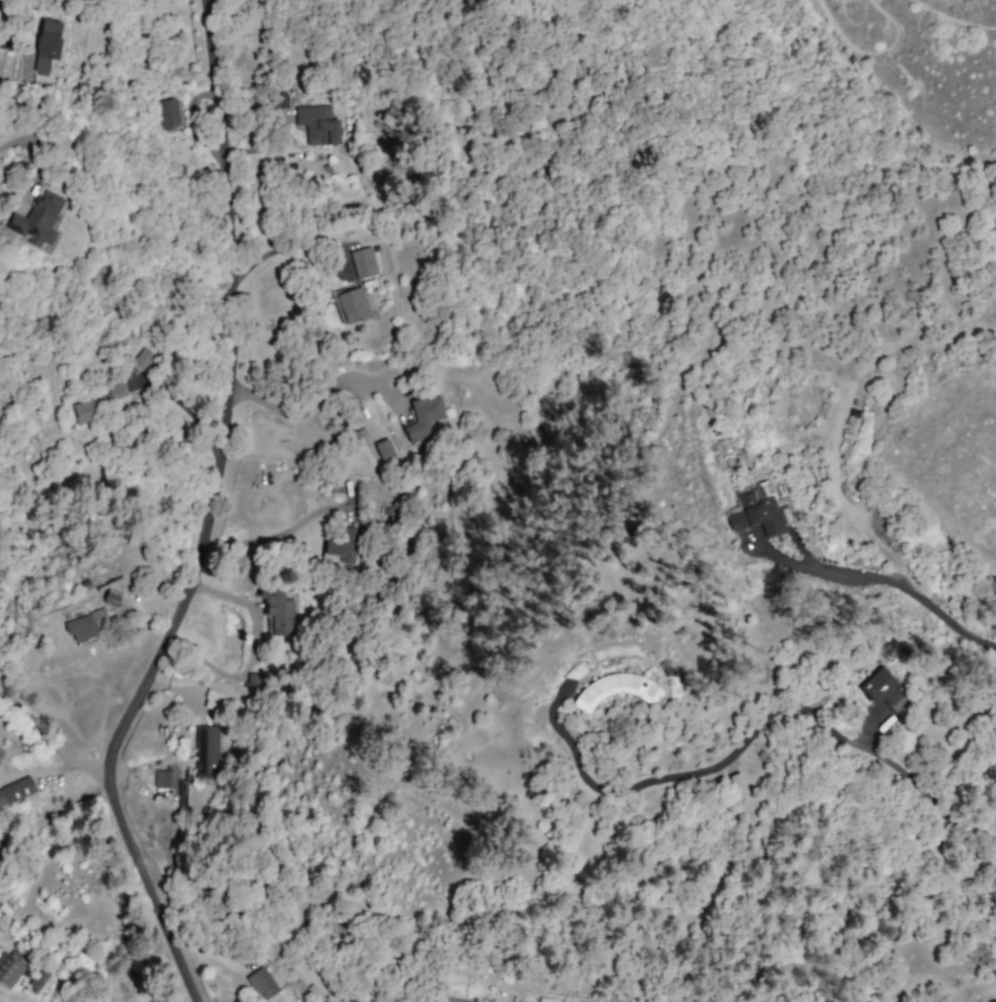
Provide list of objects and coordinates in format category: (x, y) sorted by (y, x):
building: (47, 45)
building: (281, 101)
building: (170, 113)
building: (318, 125)
building: (37, 221)
building: (363, 262)
building: (353, 305)
building: (144, 360)
building: (95, 404)
road: (306, 412)
building: (424, 417)
crop: (954, 447)
building: (384, 450)
building: (757, 510)
road: (211, 517)
road: (273, 542)
building: (343, 546)
road: (892, 580)
building: (111, 598)
building: (278, 611)
building: (84, 626)
building: (253, 682)
building: (884, 690)
building: (206, 752)
building: (163, 779)
road: (906, 779)
road: (651, 780)
building: (737, 784)
building: (16, 790)
building: (9, 969)
building: (262, 983)
building: (547, 999)
building: (460, 1001)

